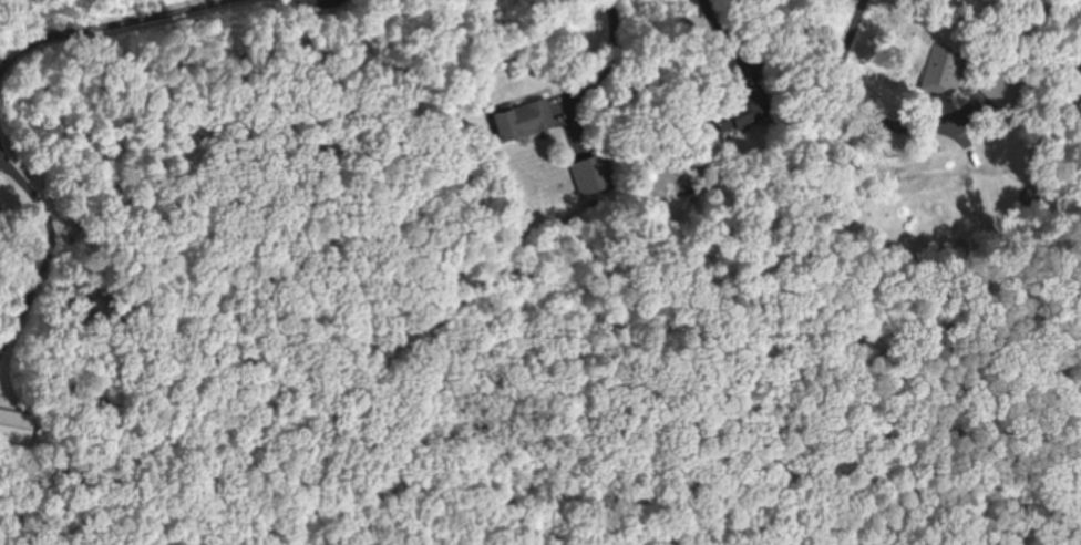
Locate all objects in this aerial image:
road: (85, 29)
building: (944, 70)
building: (1002, 85)
building: (741, 111)
building: (524, 117)
building: (1034, 133)
building: (595, 173)
road: (53, 229)
building: (16, 424)

